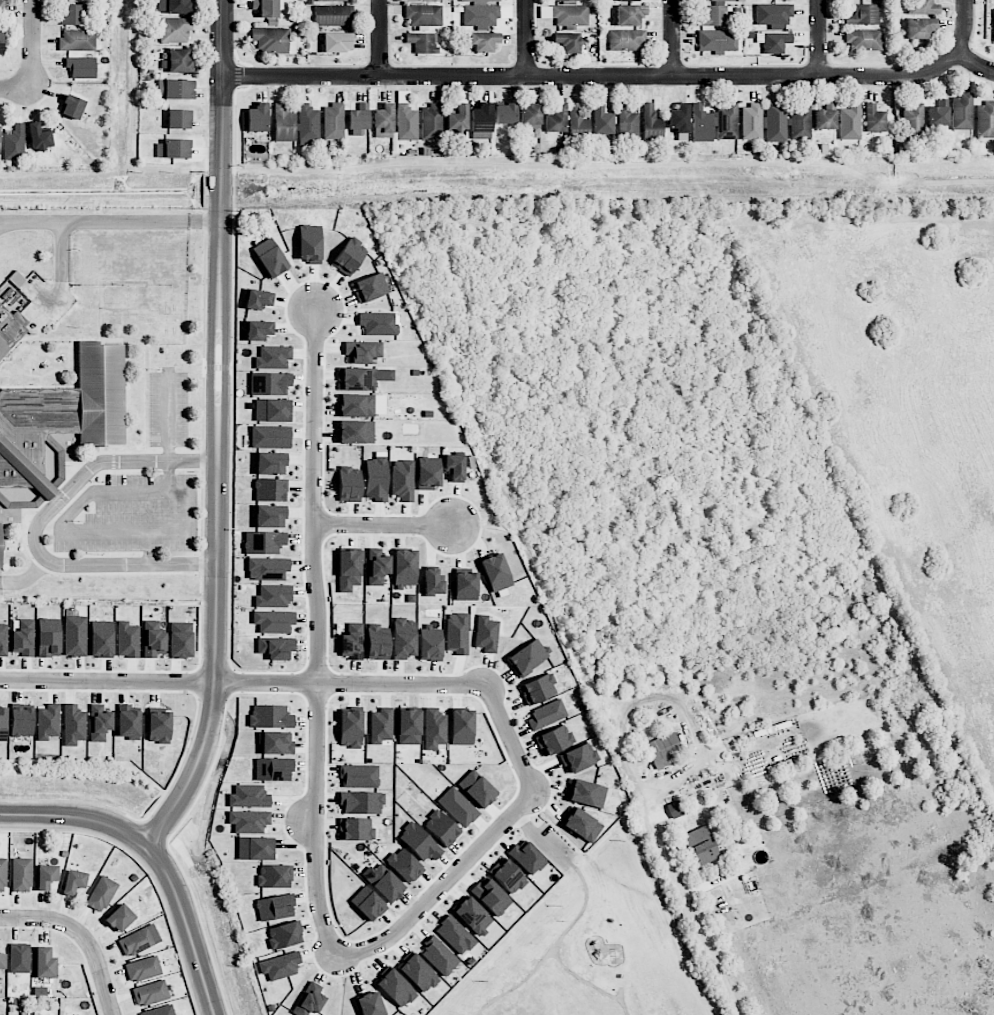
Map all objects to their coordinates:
building: (333, 0)
building: (417, 0)
building: (567, 0)
building: (628, 0)
building: (722, 0)
building: (479, 1)
building: (1, 6)
building: (173, 6)
building: (266, 7)
building: (921, 7)
building: (545, 12)
building: (73, 14)
building: (773, 14)
building: (333, 15)
building: (424, 15)
building: (485, 15)
building: (570, 15)
building: (629, 15)
building: (864, 15)
building: (717, 16)
building: (993, 25)
building: (919, 28)
road: (965, 28)
building: (175, 29)
road: (674, 38)
road: (821, 38)
road: (380, 39)
road: (526, 39)
building: (272, 40)
building: (627, 40)
building: (863, 40)
building: (77, 41)
building: (483, 41)
building: (717, 41)
building: (337, 42)
building: (422, 42)
building: (567, 42)
building: (773, 42)
building: (1, 44)
road: (34, 44)
building: (177, 61)
road: (973, 62)
building: (81, 67)
road: (591, 77)
road: (17, 88)
building: (175, 89)
building: (72, 107)
building: (962, 112)
building: (938, 113)
building: (506, 114)
building: (530, 114)
building: (358, 117)
building: (826, 117)
building: (257, 118)
building: (384, 118)
building: (457, 118)
building: (481, 118)
building: (679, 118)
building: (179, 119)
building: (556, 119)
building: (874, 119)
building: (726, 120)
building: (985, 120)
building: (333, 121)
building: (603, 121)
building: (801, 121)
building: (432, 122)
building: (627, 122)
building: (764, 122)
building: (850, 122)
building: (912, 122)
building: (283, 123)
building: (406, 123)
building: (577, 123)
building: (651, 123)
building: (308, 124)
building: (701, 124)
building: (39, 137)
building: (14, 143)
building: (174, 149)
road: (110, 221)
building: (309, 244)
building: (349, 256)
building: (270, 258)
building: (370, 288)
building: (258, 299)
building: (378, 324)
building: (9, 329)
building: (259, 330)
building: (362, 352)
building: (273, 357)
building: (363, 378)
building: (270, 383)
building: (361, 405)
building: (272, 410)
building: (61, 416)
road: (218, 432)
building: (356, 432)
building: (270, 437)
building: (271, 463)
building: (454, 467)
building: (428, 473)
road: (170, 477)
building: (376, 477)
building: (402, 480)
building: (349, 484)
building: (271, 490)
building: (271, 516)
road: (36, 526)
road: (383, 526)
road: (152, 533)
building: (264, 542)
road: (149, 549)
building: (377, 567)
building: (405, 567)
building: (268, 569)
building: (349, 570)
building: (496, 572)
road: (26, 578)
building: (432, 582)
building: (466, 587)
building: (273, 596)
building: (274, 621)
road: (318, 633)
building: (457, 633)
building: (486, 634)
building: (75, 636)
building: (48, 638)
building: (404, 638)
building: (101, 639)
building: (3, 640)
building: (127, 640)
building: (153, 640)
building: (180, 640)
building: (352, 642)
building: (377, 642)
building: (430, 644)
building: (276, 648)
building: (528, 657)
road: (242, 682)
building: (538, 689)
road: (672, 701)
building: (547, 714)
building: (271, 716)
building: (21, 722)
building: (48, 722)
building: (99, 722)
building: (128, 722)
building: (3, 724)
building: (73, 725)
building: (159, 727)
building: (381, 727)
building: (409, 727)
building: (462, 727)
building: (434, 728)
building: (350, 729)
road: (509, 738)
building: (554, 740)
building: (276, 743)
building: (663, 750)
building: (579, 758)
building: (273, 769)
building: (359, 776)
building: (477, 789)
building: (587, 793)
building: (249, 796)
building: (361, 802)
building: (458, 807)
building: (249, 821)
road: (309, 823)
building: (582, 825)
building: (442, 828)
building: (355, 829)
road: (538, 839)
building: (419, 842)
building: (701, 846)
building: (256, 848)
road: (155, 858)
building: (526, 858)
building: (404, 865)
building: (3, 875)
building: (22, 875)
building: (46, 876)
building: (274, 876)
building: (510, 876)
building: (74, 882)
building: (385, 883)
road: (442, 886)
building: (101, 894)
building: (491, 896)
road: (687, 903)
building: (368, 904)
road: (585, 906)
building: (275, 907)
building: (472, 915)
building: (120, 918)
road: (82, 935)
building: (284, 935)
park: (594, 939)
building: (139, 940)
building: (439, 956)
building: (19, 958)
building: (2, 961)
building: (44, 963)
building: (280, 966)
building: (143, 969)
building: (418, 973)
road: (588, 983)
road: (518, 985)
building: (396, 988)
building: (150, 993)
building: (309, 1000)
building: (369, 1004)
building: (160, 1011)

